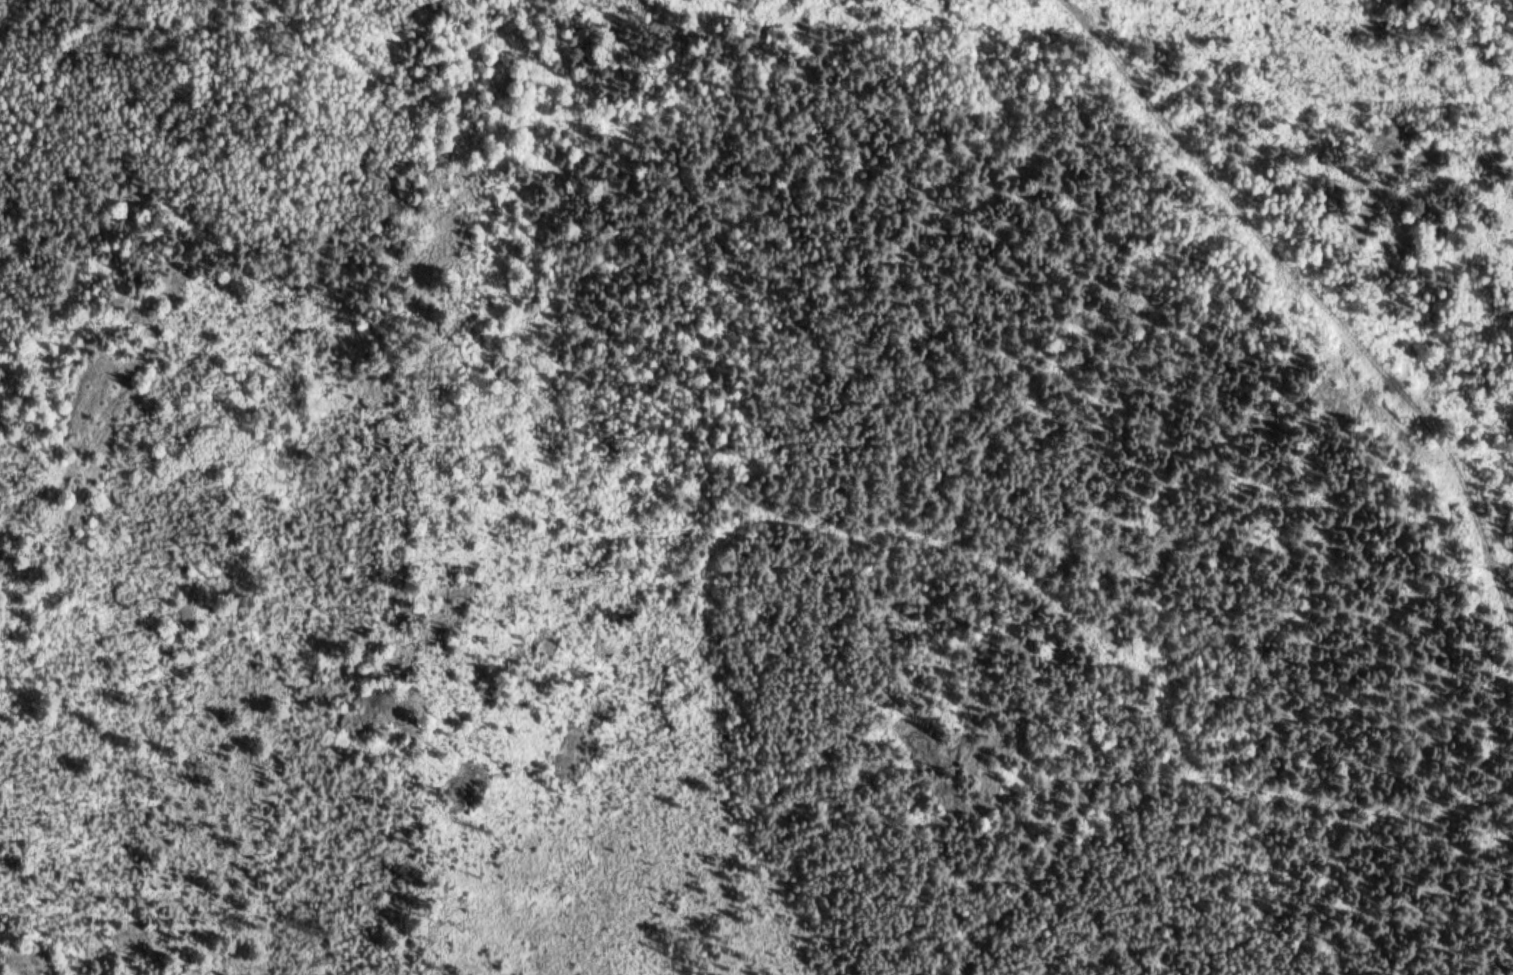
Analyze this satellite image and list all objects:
road: (11, 12)

